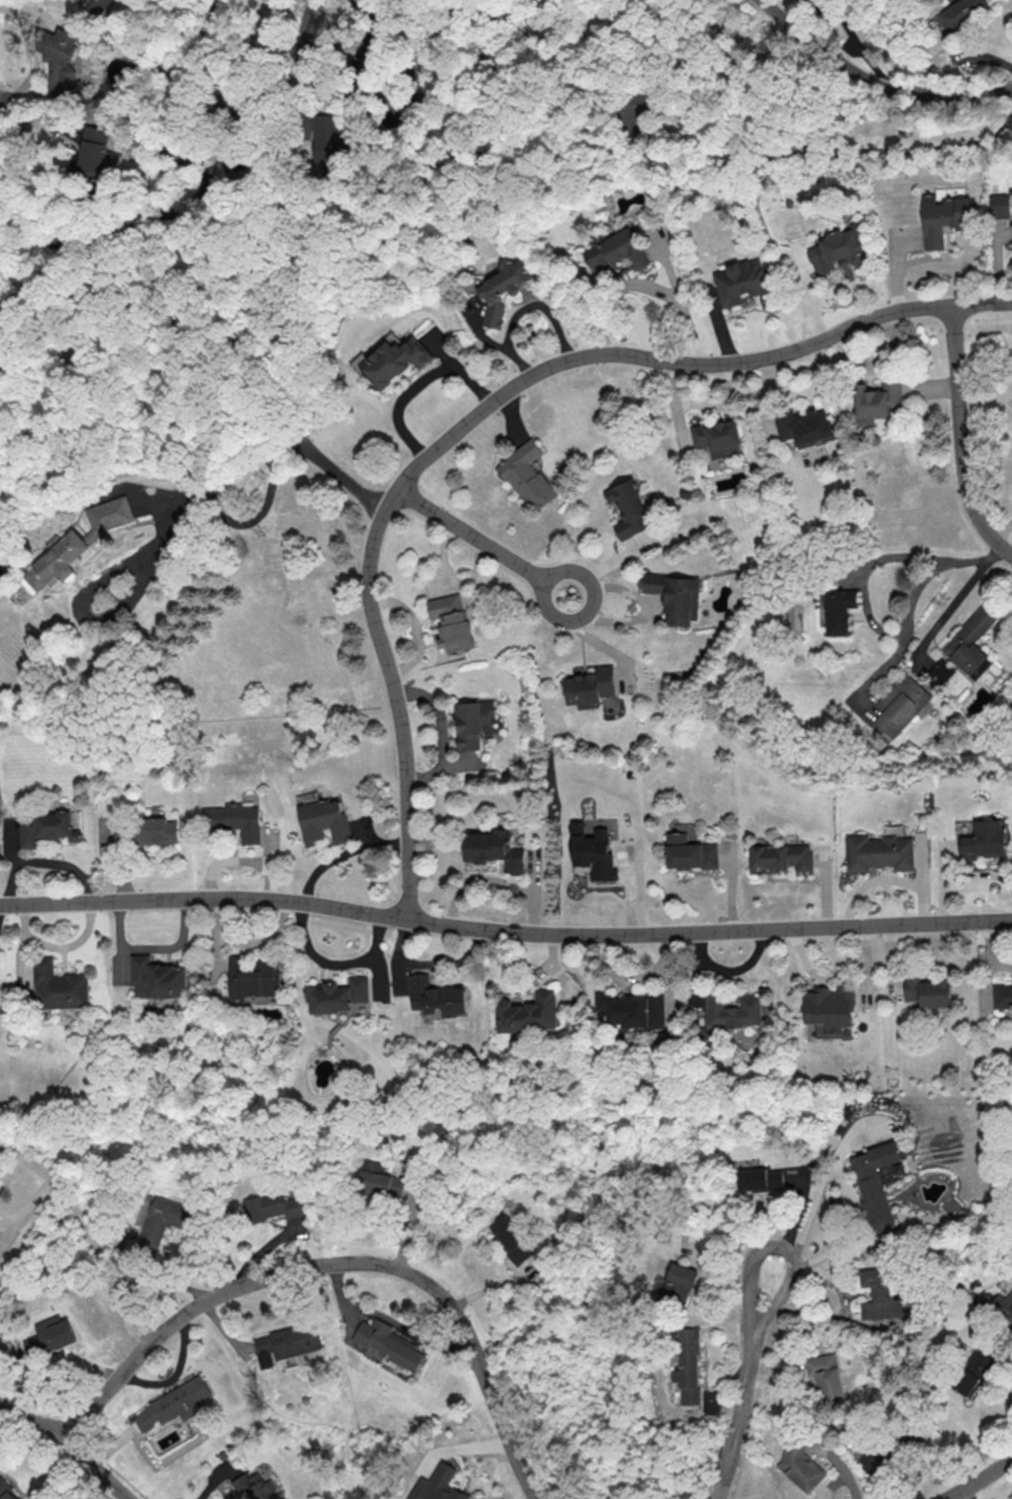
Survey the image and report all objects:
building: (95, 6)
building: (960, 12)
road: (278, 42)
road: (300, 60)
building: (60, 62)
road: (873, 84)
building: (638, 111)
road: (54, 126)
building: (327, 140)
road: (843, 153)
building: (95, 154)
building: (999, 207)
building: (943, 218)
building: (838, 250)
building: (617, 251)
building: (740, 282)
road: (645, 287)
building: (503, 289)
road: (539, 306)
road: (493, 343)
building: (396, 360)
road: (419, 387)
building: (876, 400)
road: (483, 411)
building: (804, 426)
building: (717, 438)
road: (959, 439)
road: (225, 474)
building: (527, 476)
building: (628, 509)
building: (76, 543)
road: (485, 544)
building: (676, 597)
building: (839, 610)
road: (909, 614)
road: (943, 616)
building: (452, 622)
road: (596, 640)
building: (973, 640)
building: (939, 673)
building: (589, 687)
building: (900, 706)
building: (471, 723)
building: (234, 820)
building: (324, 821)
building: (44, 828)
building: (157, 831)
building: (983, 842)
building: (494, 850)
building: (689, 852)
building: (591, 853)
building: (878, 854)
building: (780, 860)
road: (504, 931)
building: (158, 980)
building: (254, 980)
building: (59, 988)
building: (928, 992)
building: (1002, 996)
building: (340, 997)
building: (438, 998)
building: (361, 1007)
building: (830, 1007)
building: (732, 1011)
building: (634, 1012)
building: (529, 1013)
building: (377, 1179)
building: (758, 1179)
building: (873, 1184)
road: (848, 1189)
road: (28, 1204)
building: (270, 1206)
building: (161, 1220)
road: (88, 1232)
building: (510, 1239)
road: (339, 1264)
building: (678, 1282)
building: (879, 1295)
building: (1002, 1306)
building: (48, 1336)
building: (285, 1343)
building: (387, 1343)
building: (687, 1365)
building: (971, 1370)
building: (825, 1377)
road: (743, 1383)
building: (172, 1404)
road: (31, 1421)
road: (838, 1465)
road: (96, 1467)
building: (800, 1467)
road: (977, 1480)
building: (438, 1485)
building: (253, 1486)
building: (6, 1490)

